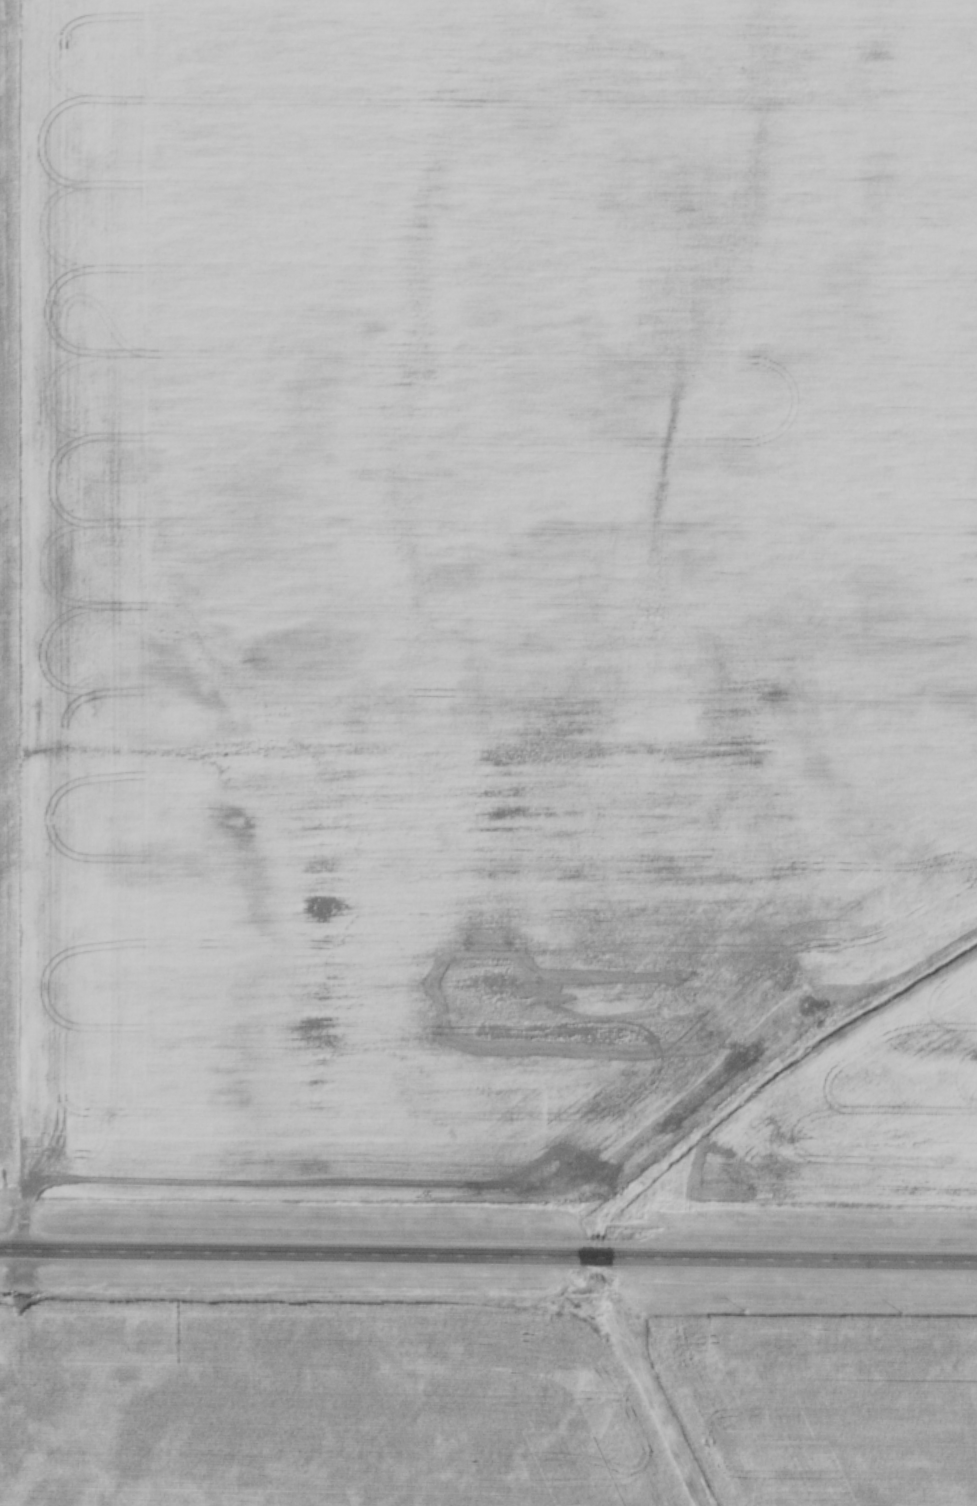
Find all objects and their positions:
road: (488, 1258)

